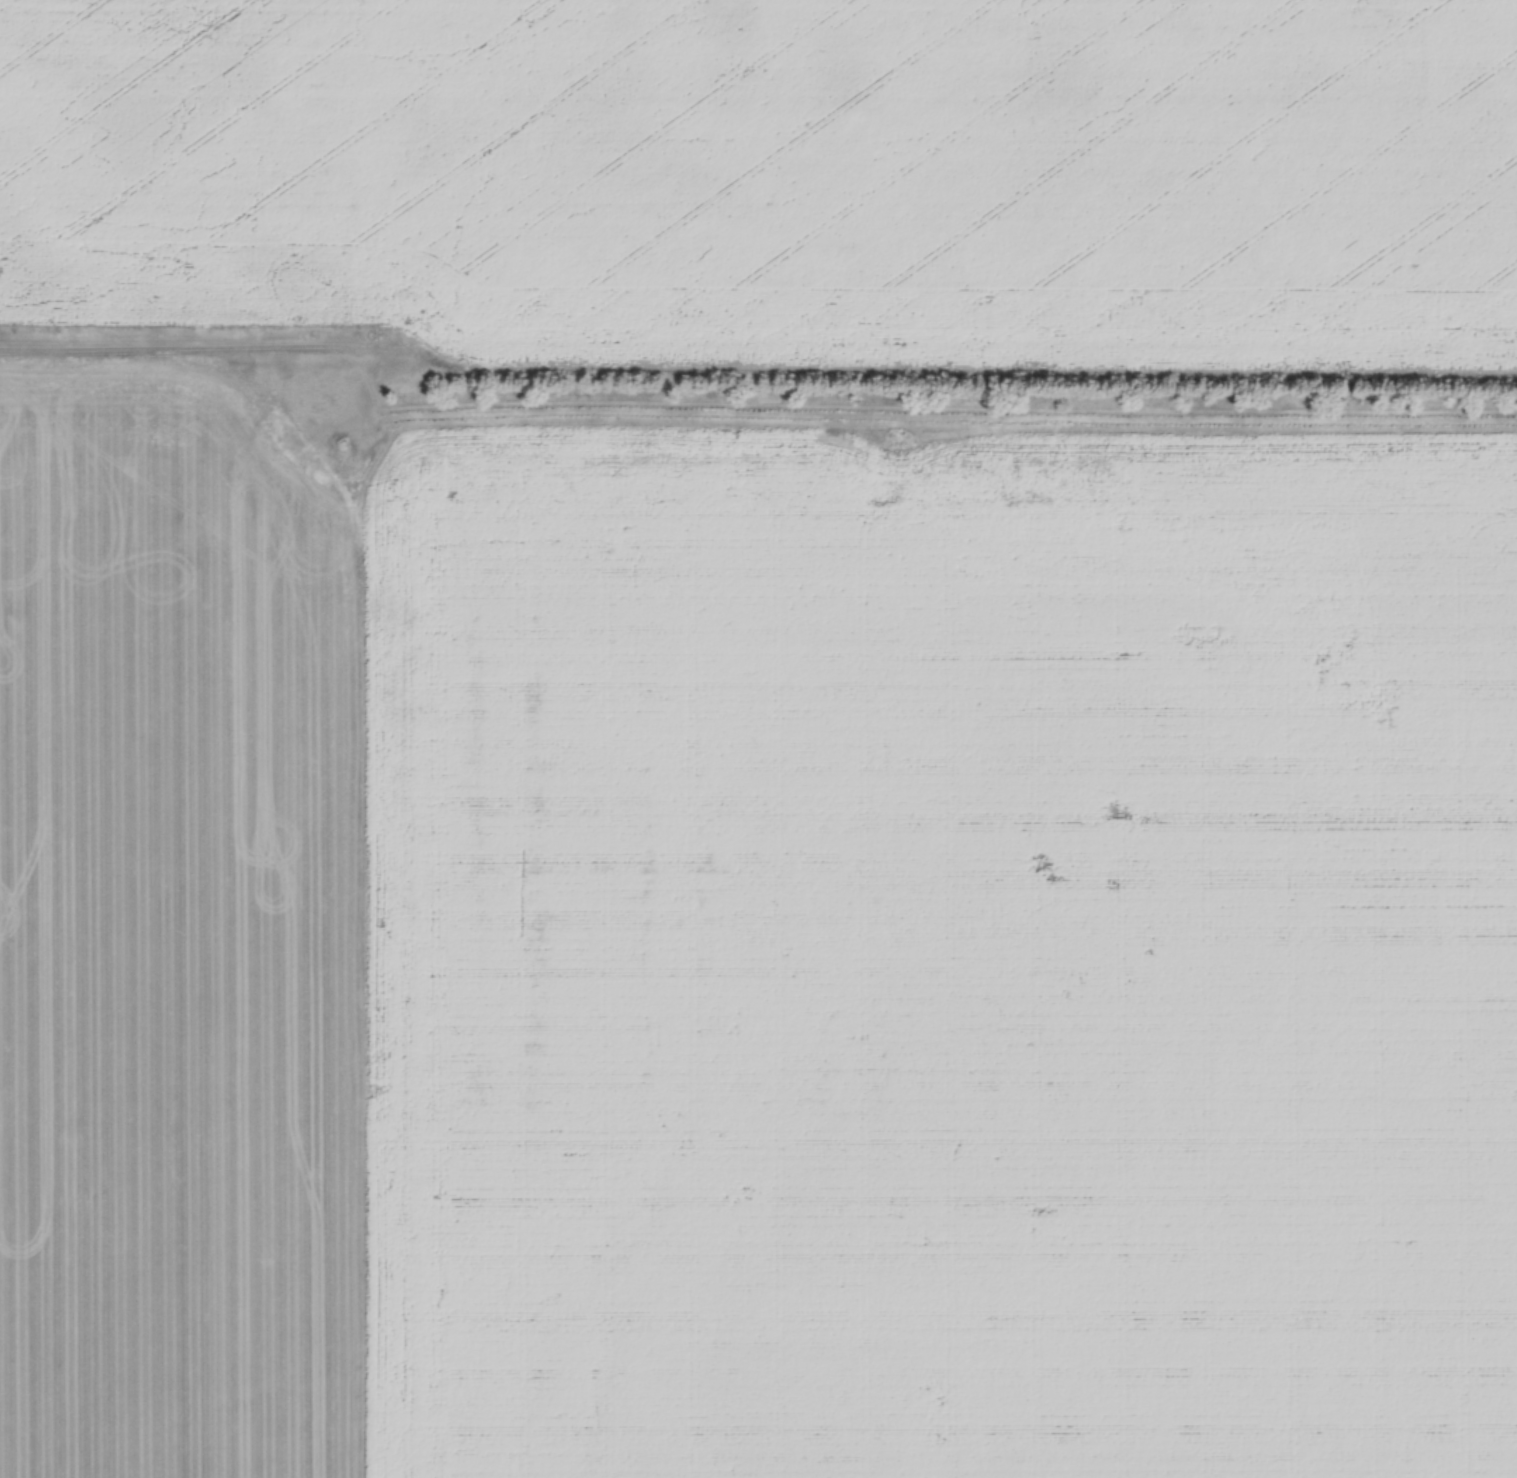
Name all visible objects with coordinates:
road: (758, 350)

